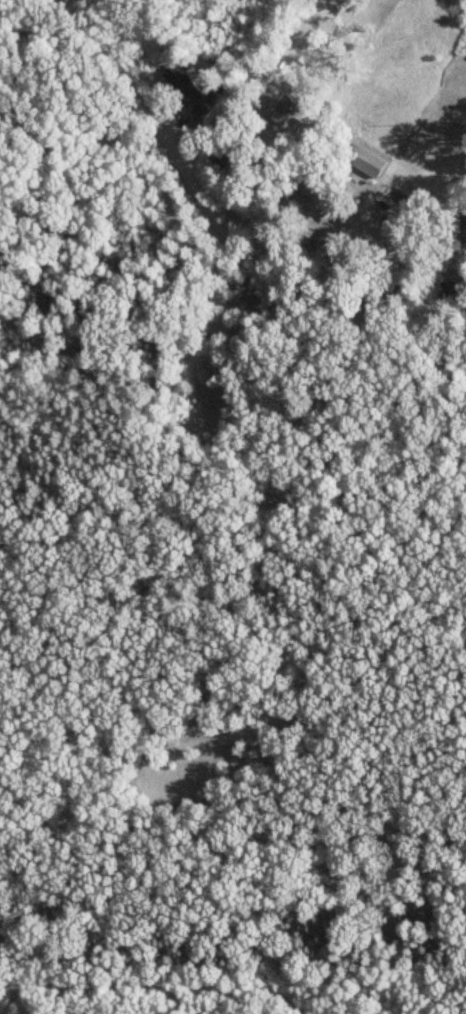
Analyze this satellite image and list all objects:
building: (184, 86)
road: (242, 86)
building: (277, 111)
building: (225, 156)
building: (367, 164)
road: (224, 234)
road: (86, 698)

